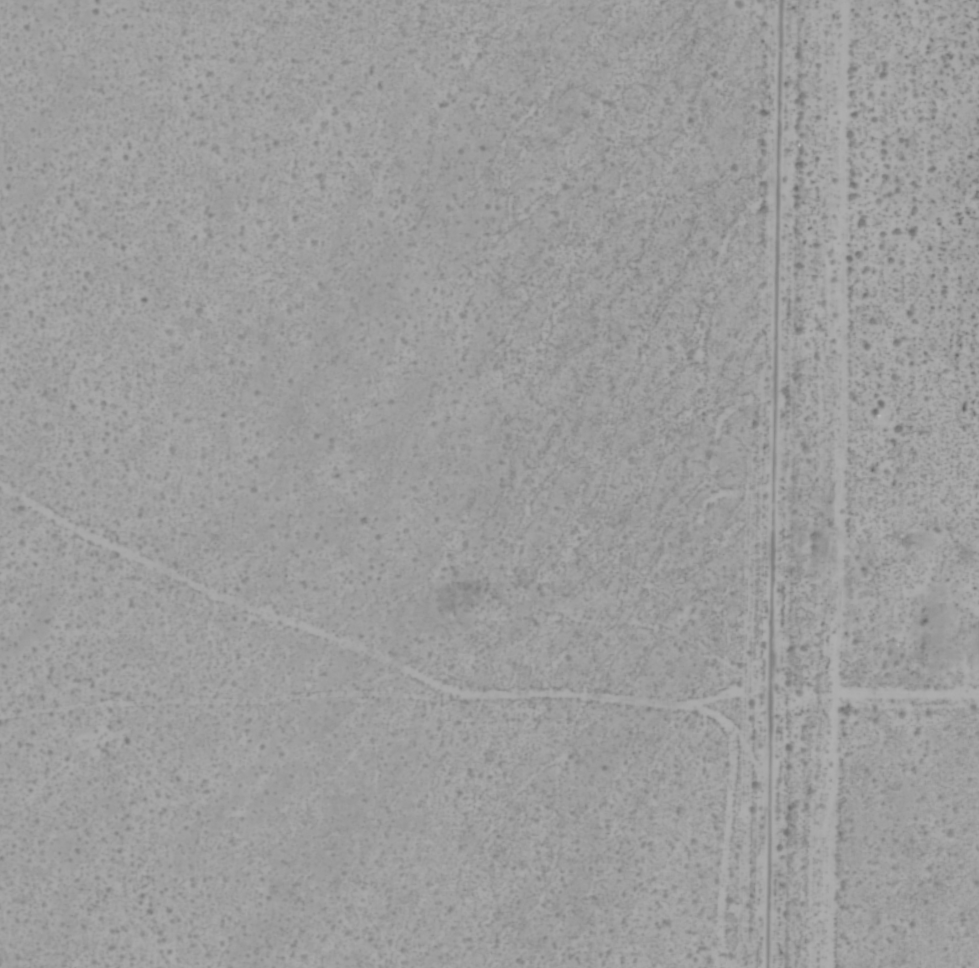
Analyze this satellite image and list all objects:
road: (776, 484)
airport: (924, 491)

